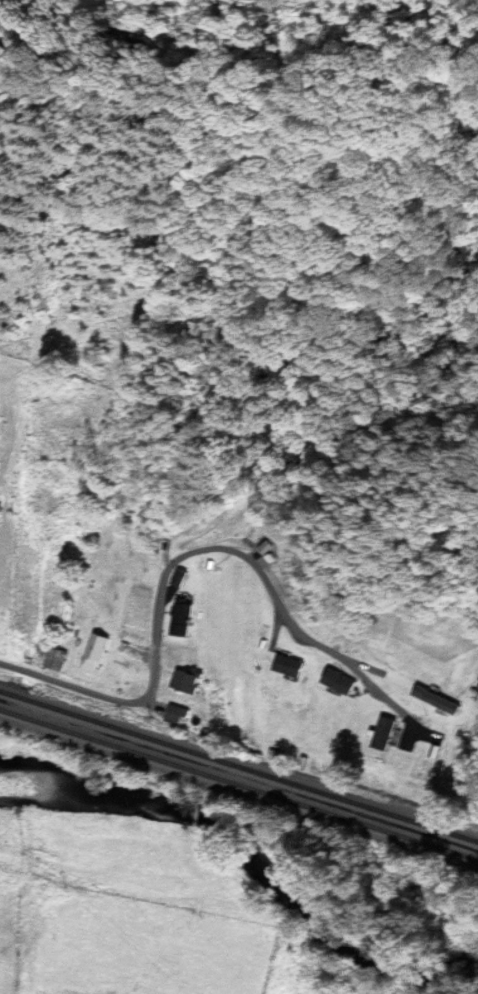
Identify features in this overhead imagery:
building: (2, 511)
road: (177, 559)
building: (188, 617)
building: (101, 649)
building: (292, 665)
building: (193, 681)
building: (342, 681)
building: (183, 713)
building: (388, 732)
railway: (238, 764)
railway: (239, 783)

